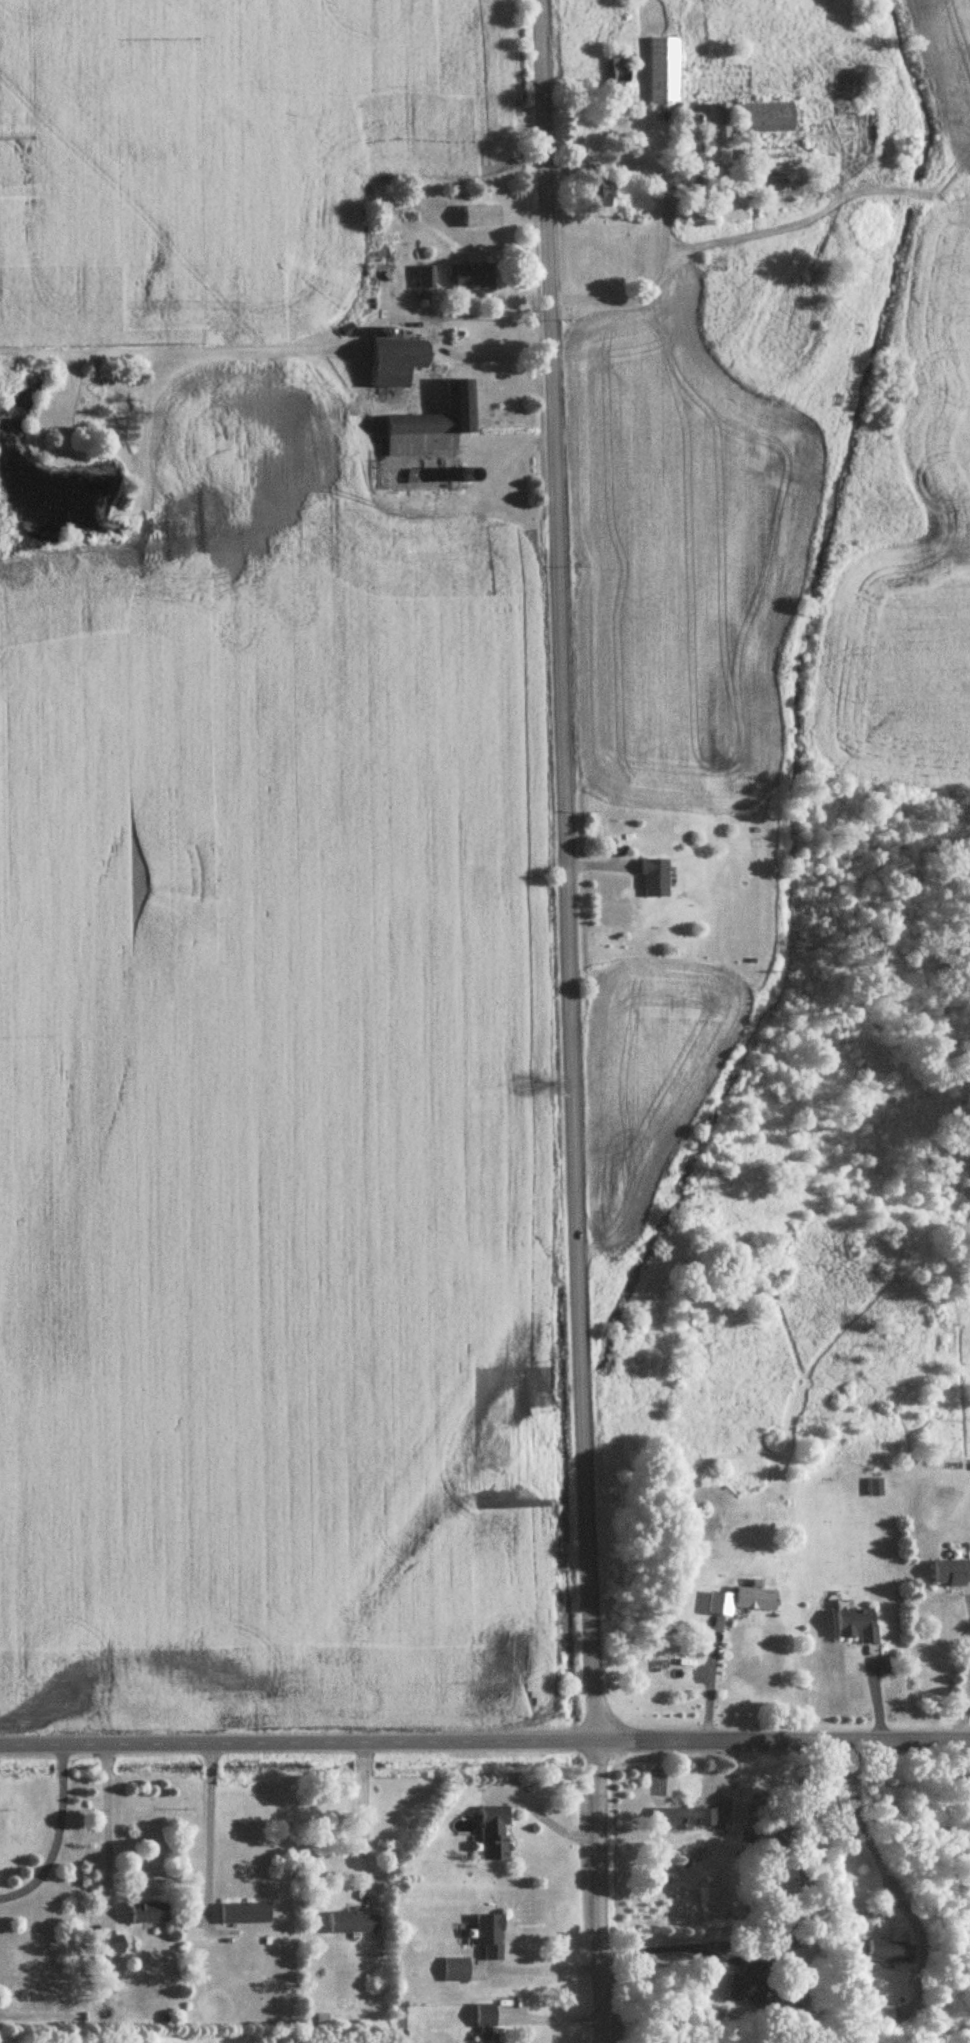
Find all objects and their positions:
building: (664, 71)
building: (619, 83)
building: (766, 117)
building: (714, 120)
building: (693, 150)
building: (770, 156)
building: (602, 193)
building: (709, 209)
building: (482, 216)
road: (665, 225)
building: (471, 276)
building: (426, 277)
road: (487, 316)
building: (396, 359)
building: (433, 425)
road: (563, 868)
building: (655, 879)
building: (876, 1488)
building: (951, 1572)
building: (756, 1599)
building: (720, 1603)
building: (857, 1625)
road: (711, 1681)
road: (965, 1718)
road: (780, 1735)
road: (296, 1740)
road: (364, 1815)
road: (208, 1817)
building: (687, 1819)
road: (868, 1819)
road: (105, 1825)
road: (58, 1834)
building: (495, 1834)
road: (596, 1889)
building: (149, 1912)
building: (245, 1913)
building: (353, 1922)
building: (490, 1935)
building: (111, 1945)
road: (659, 1948)
building: (891, 1952)
building: (457, 1970)
road: (542, 1972)
building: (748, 1980)
building: (488, 2023)

